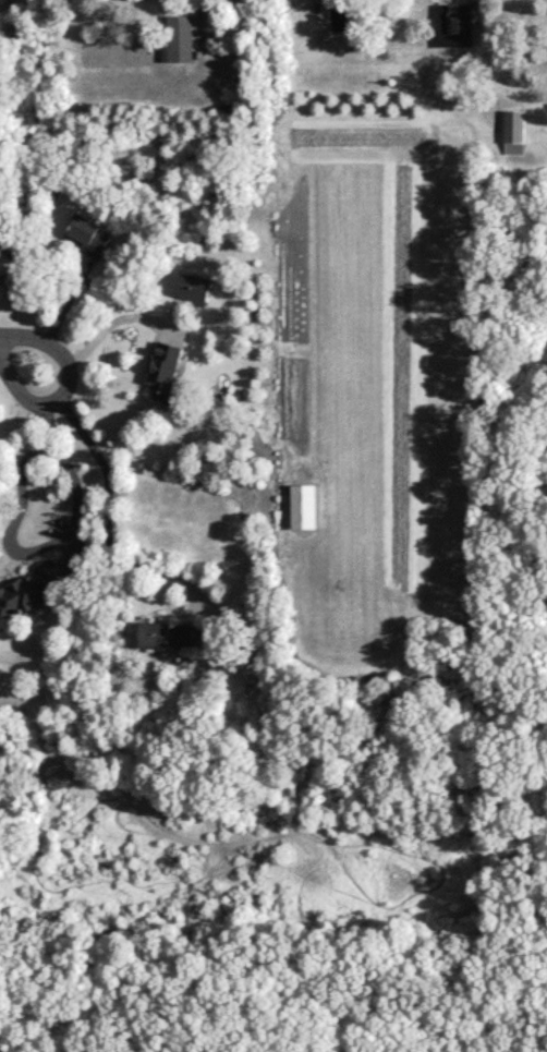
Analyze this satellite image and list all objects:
road: (2, 5)
road: (197, 20)
building: (179, 38)
building: (90, 234)
building: (192, 286)
road: (60, 311)
road: (106, 328)
road: (20, 349)
building: (165, 370)
road: (62, 459)
road: (107, 505)
building: (32, 590)
building: (173, 633)

